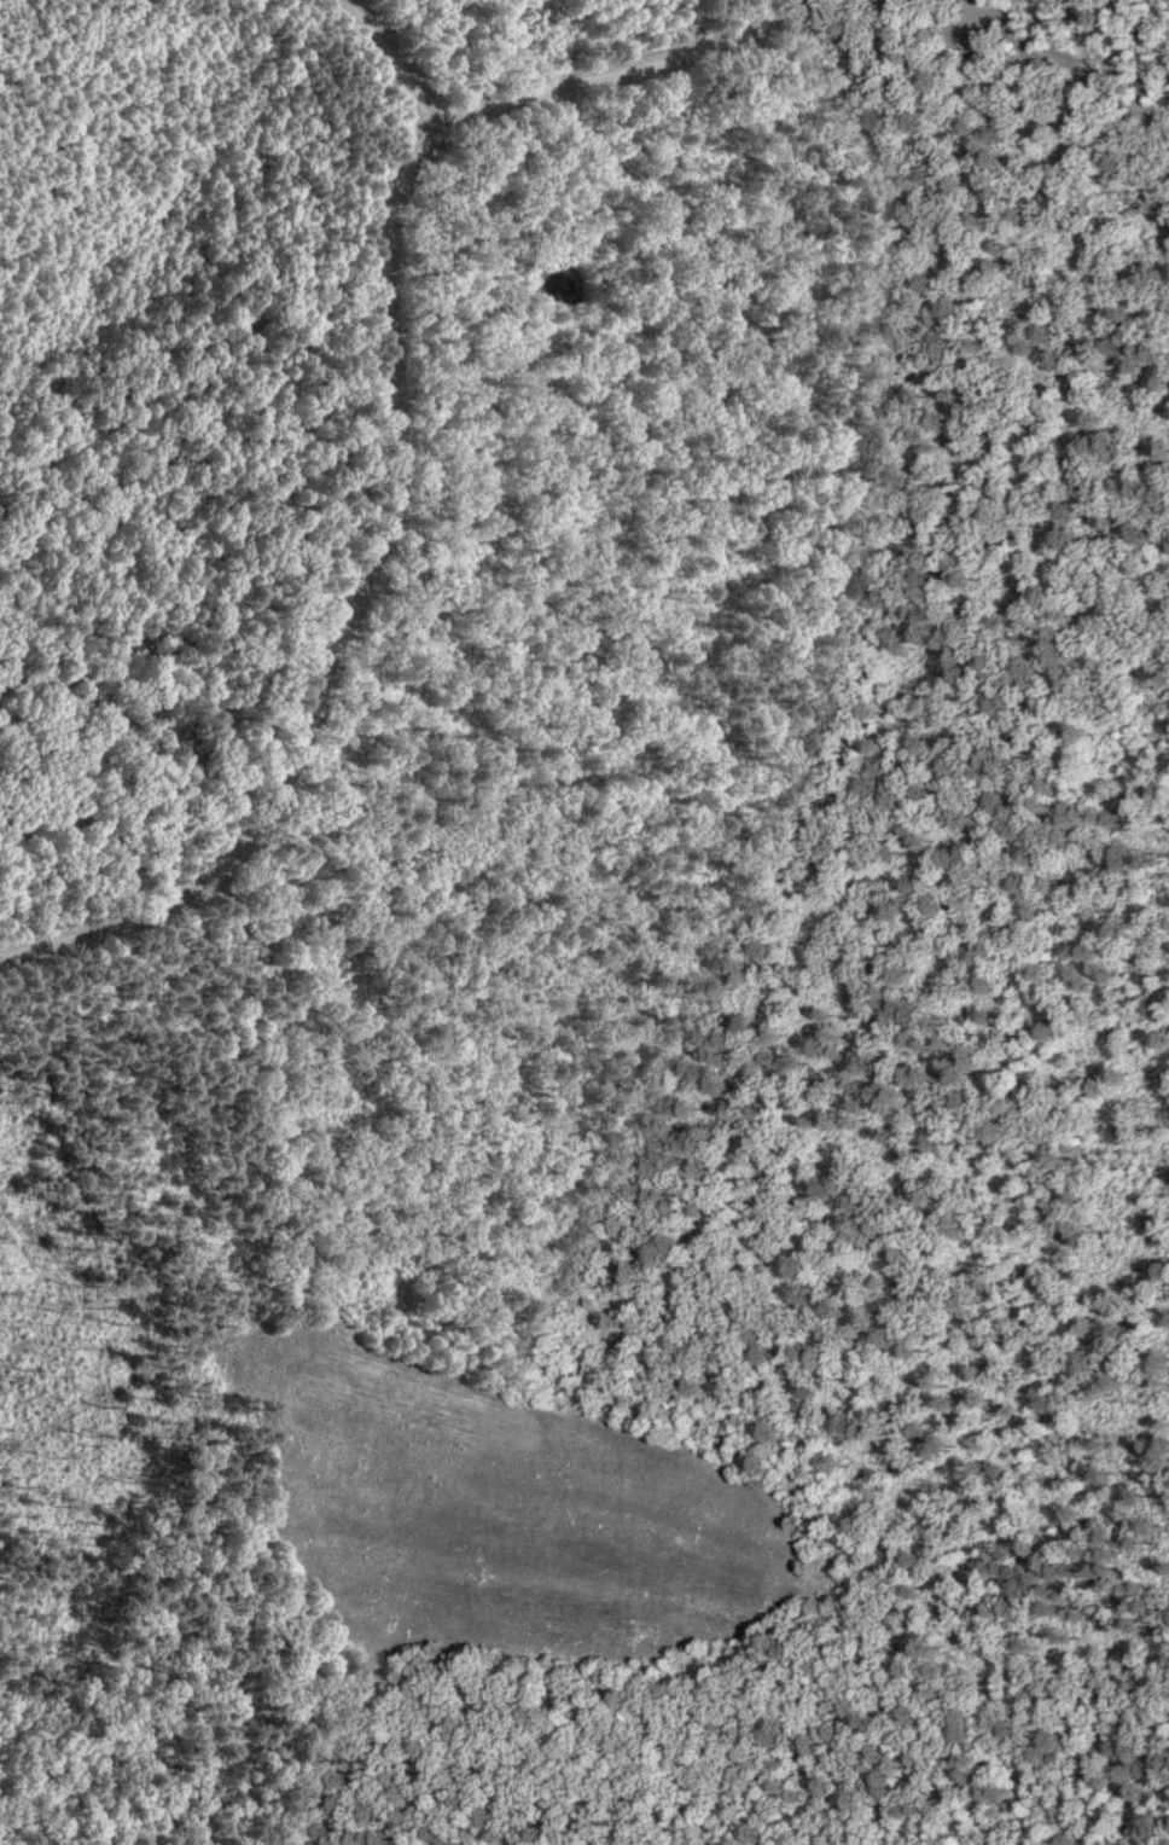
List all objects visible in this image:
road: (391, 60)
road: (390, 430)

